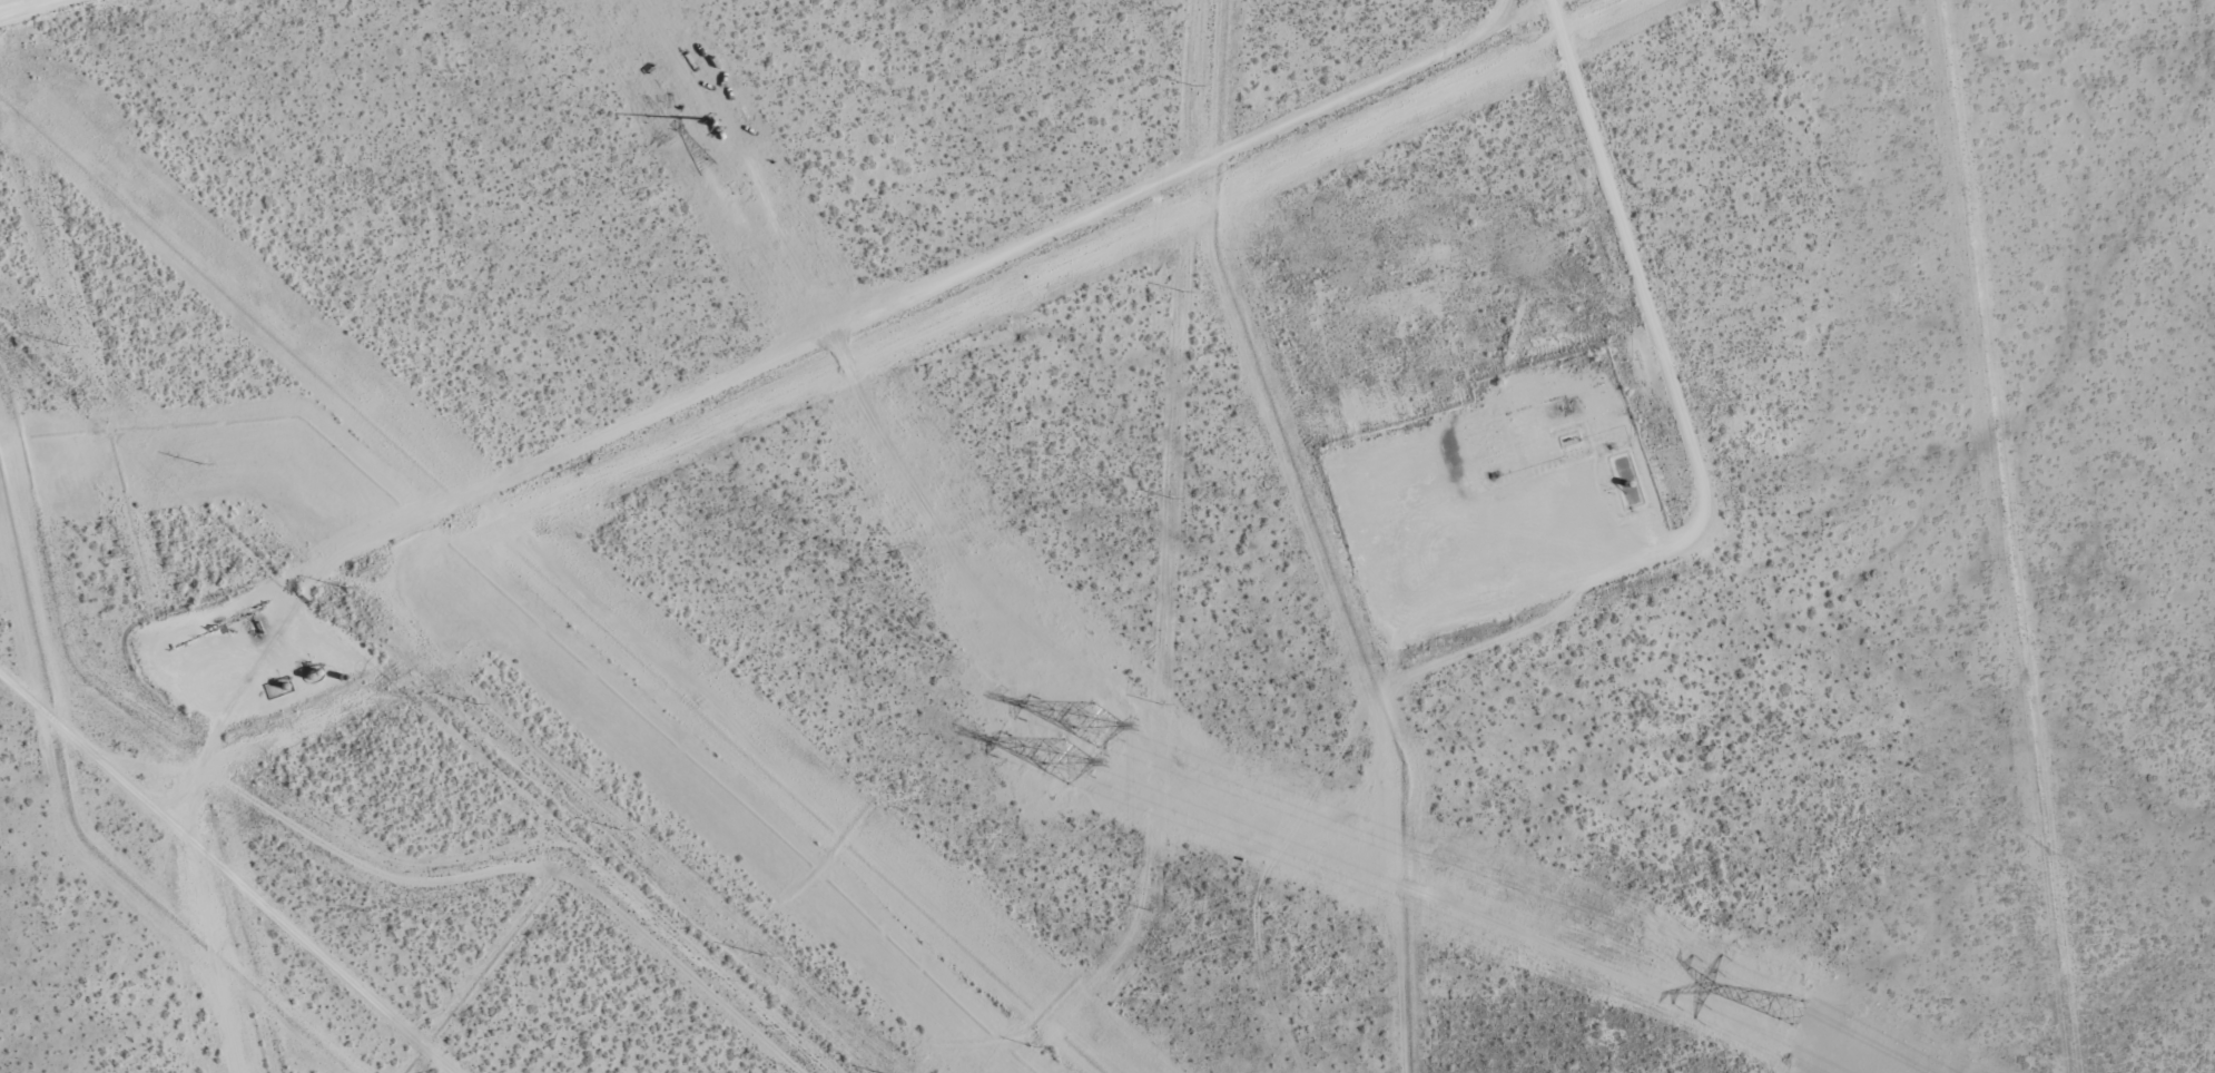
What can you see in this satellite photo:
road: (19, 6)
road: (141, 48)
power tower: (738, 188)
road: (1643, 298)
power tower: (66, 345)
power tower: (203, 464)
power tower: (344, 588)
power tower: (476, 705)
power tower: (1075, 744)
power tower: (619, 829)
power tower: (762, 956)
power tower: (1789, 1011)

